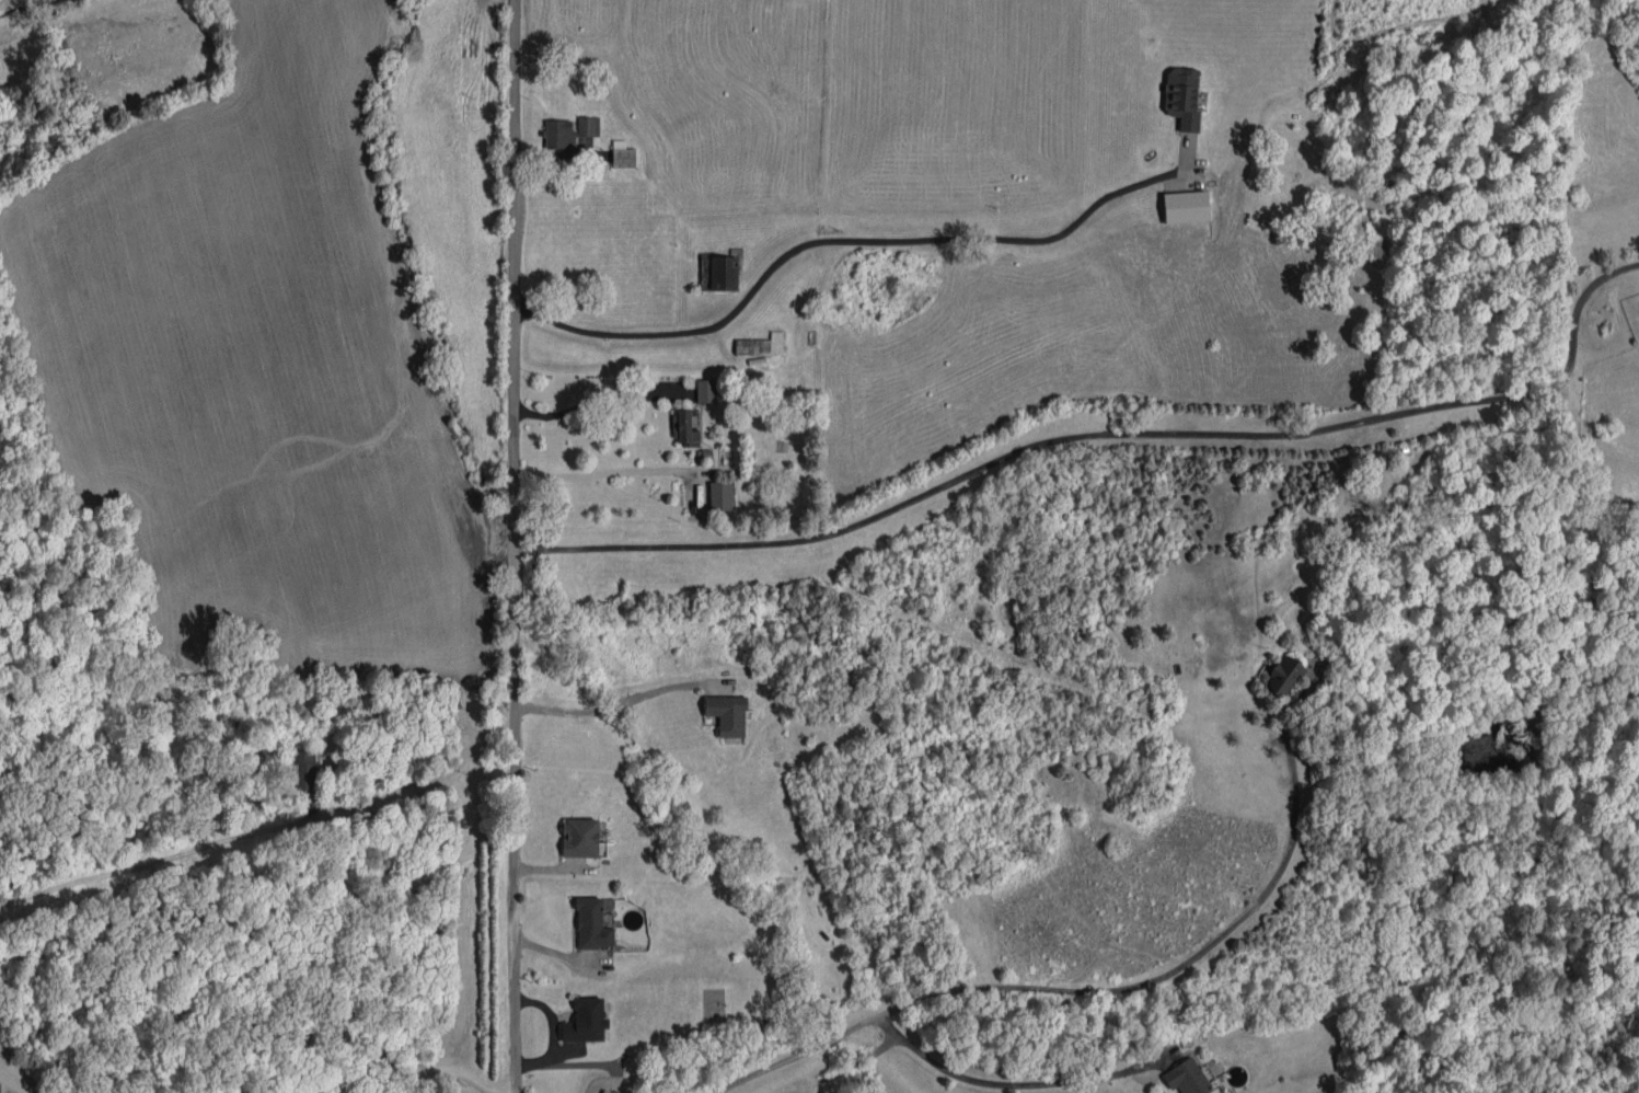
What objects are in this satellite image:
building: (1182, 96)
building: (588, 125)
building: (559, 134)
building: (623, 153)
building: (1186, 206)
road: (857, 239)
building: (724, 273)
building: (761, 344)
building: (706, 390)
road: (598, 400)
building: (684, 427)
road: (1108, 434)
road: (605, 472)
building: (720, 495)
road: (515, 546)
building: (1280, 675)
road: (601, 707)
building: (727, 713)
building: (304, 770)
road: (427, 775)
building: (579, 837)
building: (593, 922)
road: (1156, 980)
building: (586, 1020)
road: (795, 1052)
road: (385, 1074)
building: (1187, 1078)
road: (1001, 1083)
building: (0, 1086)
building: (604, 1091)

